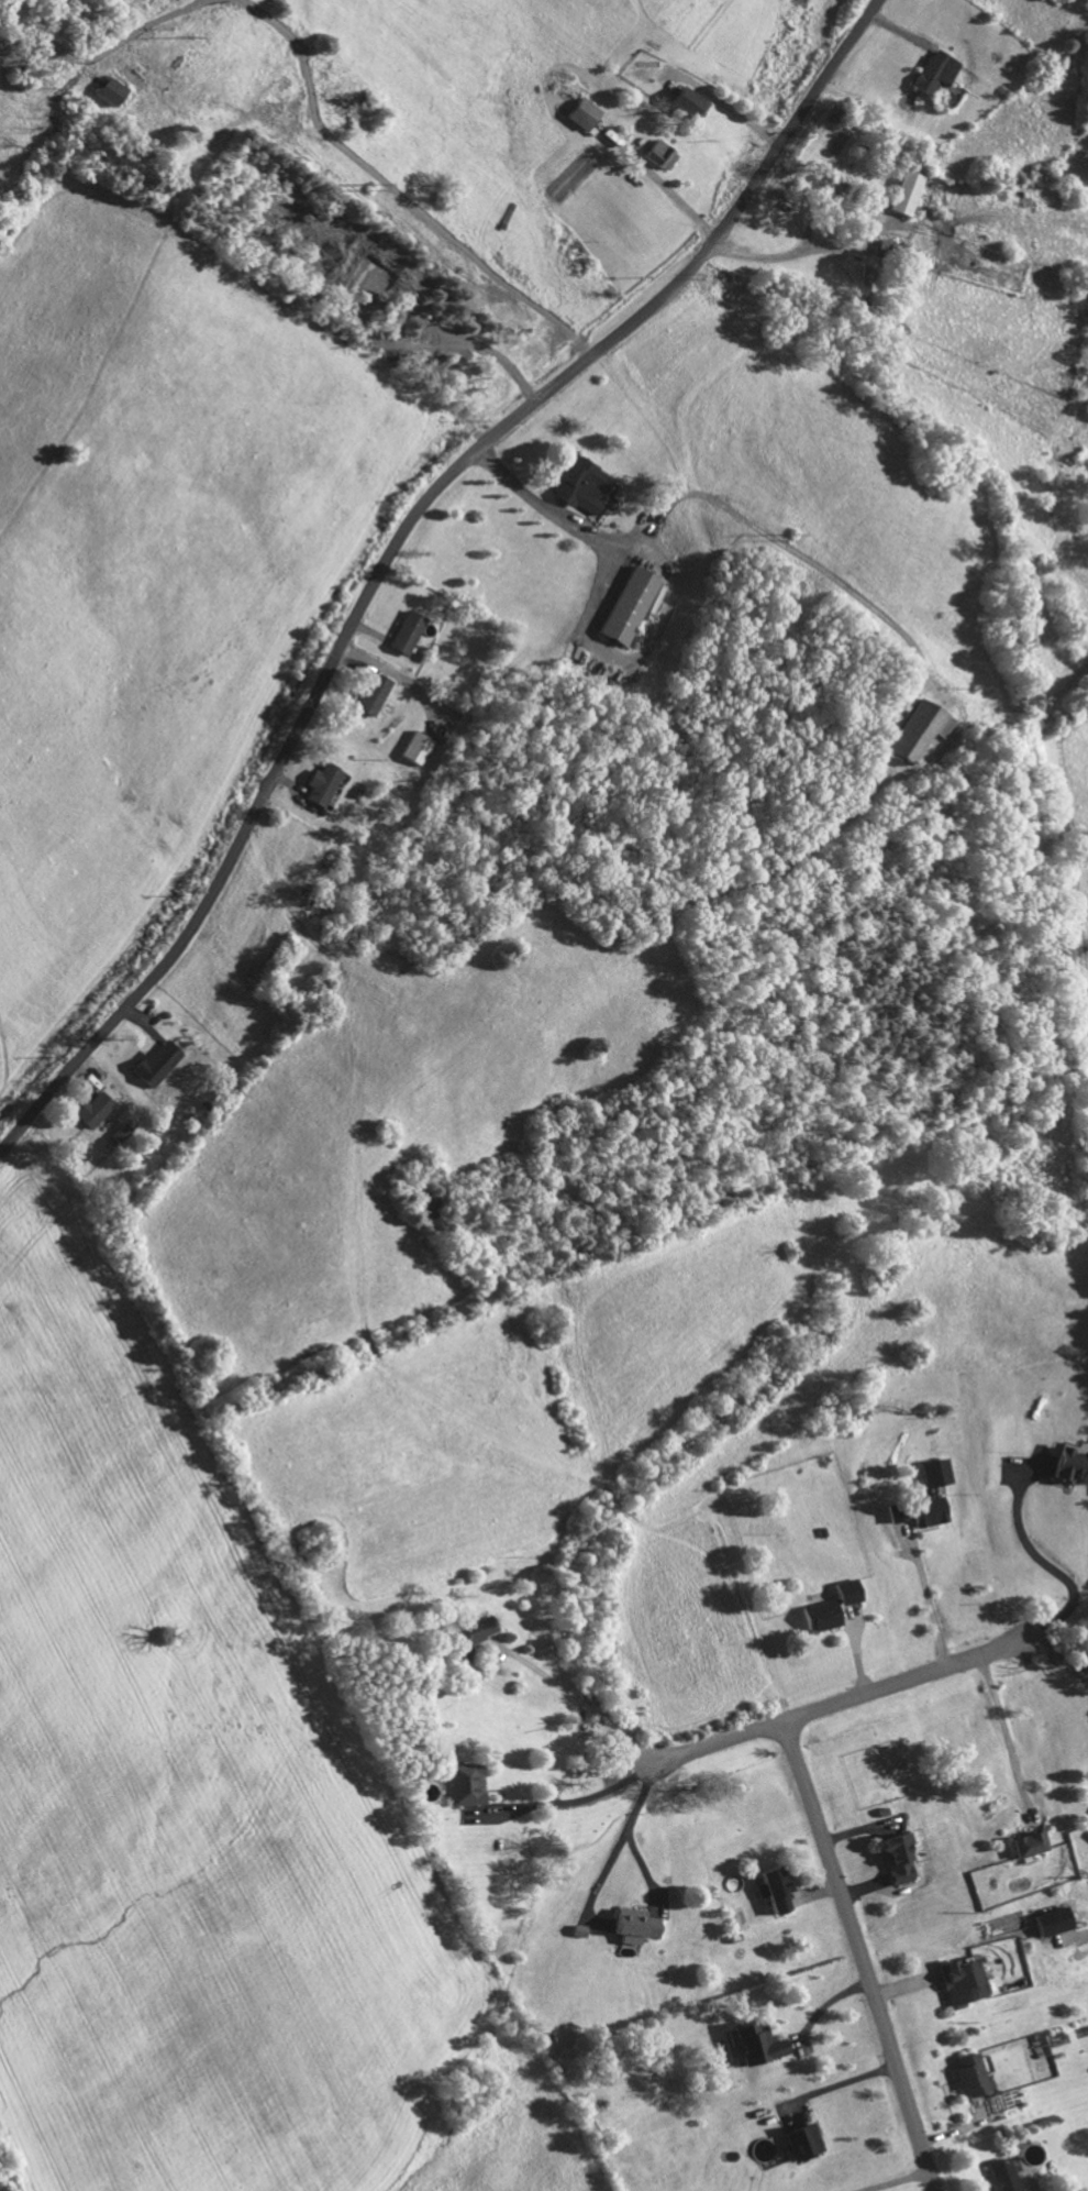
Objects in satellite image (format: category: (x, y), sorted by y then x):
road: (1087, 1)
building: (934, 70)
building: (108, 90)
building: (682, 101)
road: (731, 109)
building: (581, 112)
building: (657, 154)
building: (822, 185)
road: (665, 186)
building: (906, 192)
building: (579, 485)
road: (398, 543)
road: (675, 583)
building: (655, 598)
building: (626, 605)
building: (404, 631)
road: (403, 675)
building: (369, 694)
building: (908, 731)
building: (414, 748)
building: (320, 784)
building: (153, 1064)
building: (89, 1110)
building: (120, 1134)
building: (1070, 1465)
building: (935, 1472)
building: (929, 1510)
building: (896, 1513)
road: (1046, 1562)
building: (847, 1590)
road: (930, 1597)
building: (821, 1614)
building: (460, 1637)
road: (1063, 1660)
road: (578, 1694)
road: (840, 1702)
building: (464, 1783)
road: (567, 1802)
building: (1024, 1842)
building: (893, 1857)
building: (1051, 1920)
building: (630, 1924)
road: (859, 1955)
building: (962, 1980)
building: (752, 2044)
building: (968, 2074)
building: (800, 2140)
road: (511, 2148)
building: (1000, 2175)

